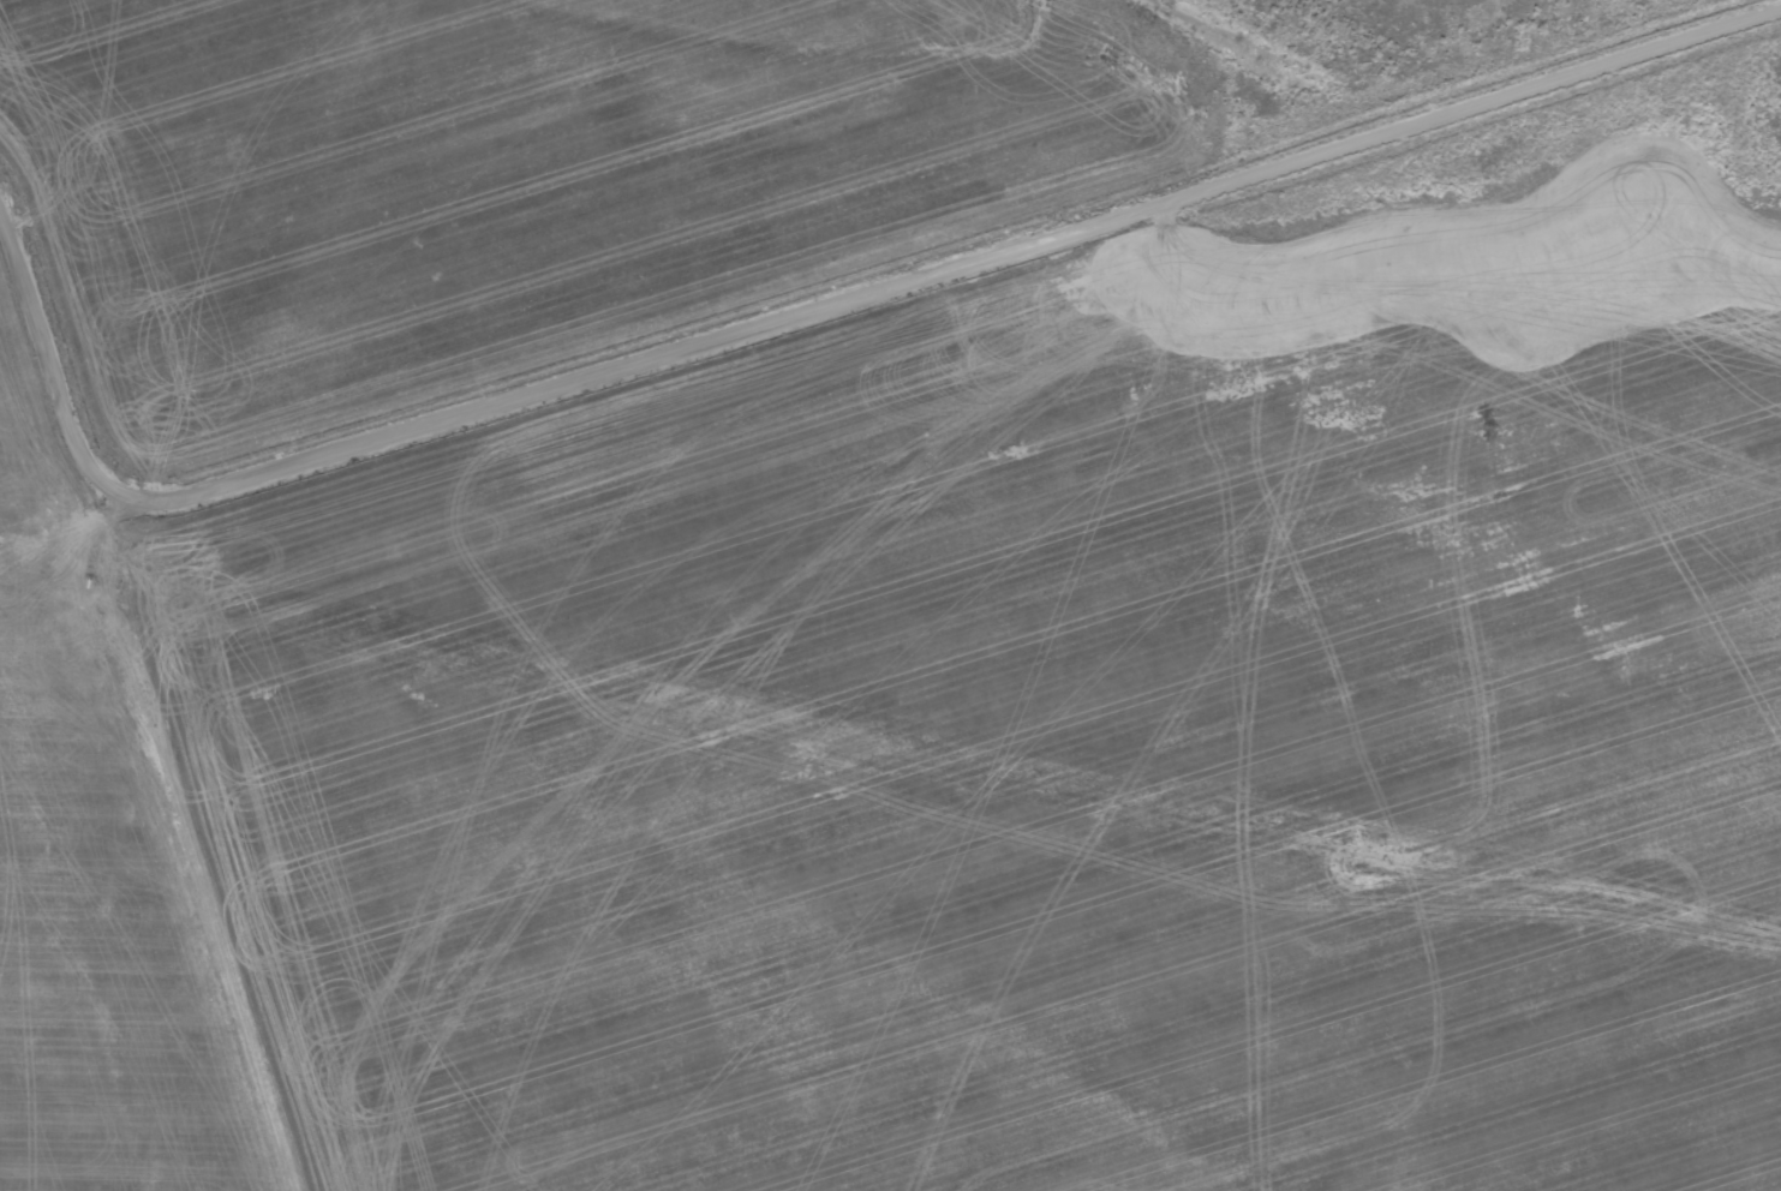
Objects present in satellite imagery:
road: (803, 305)

